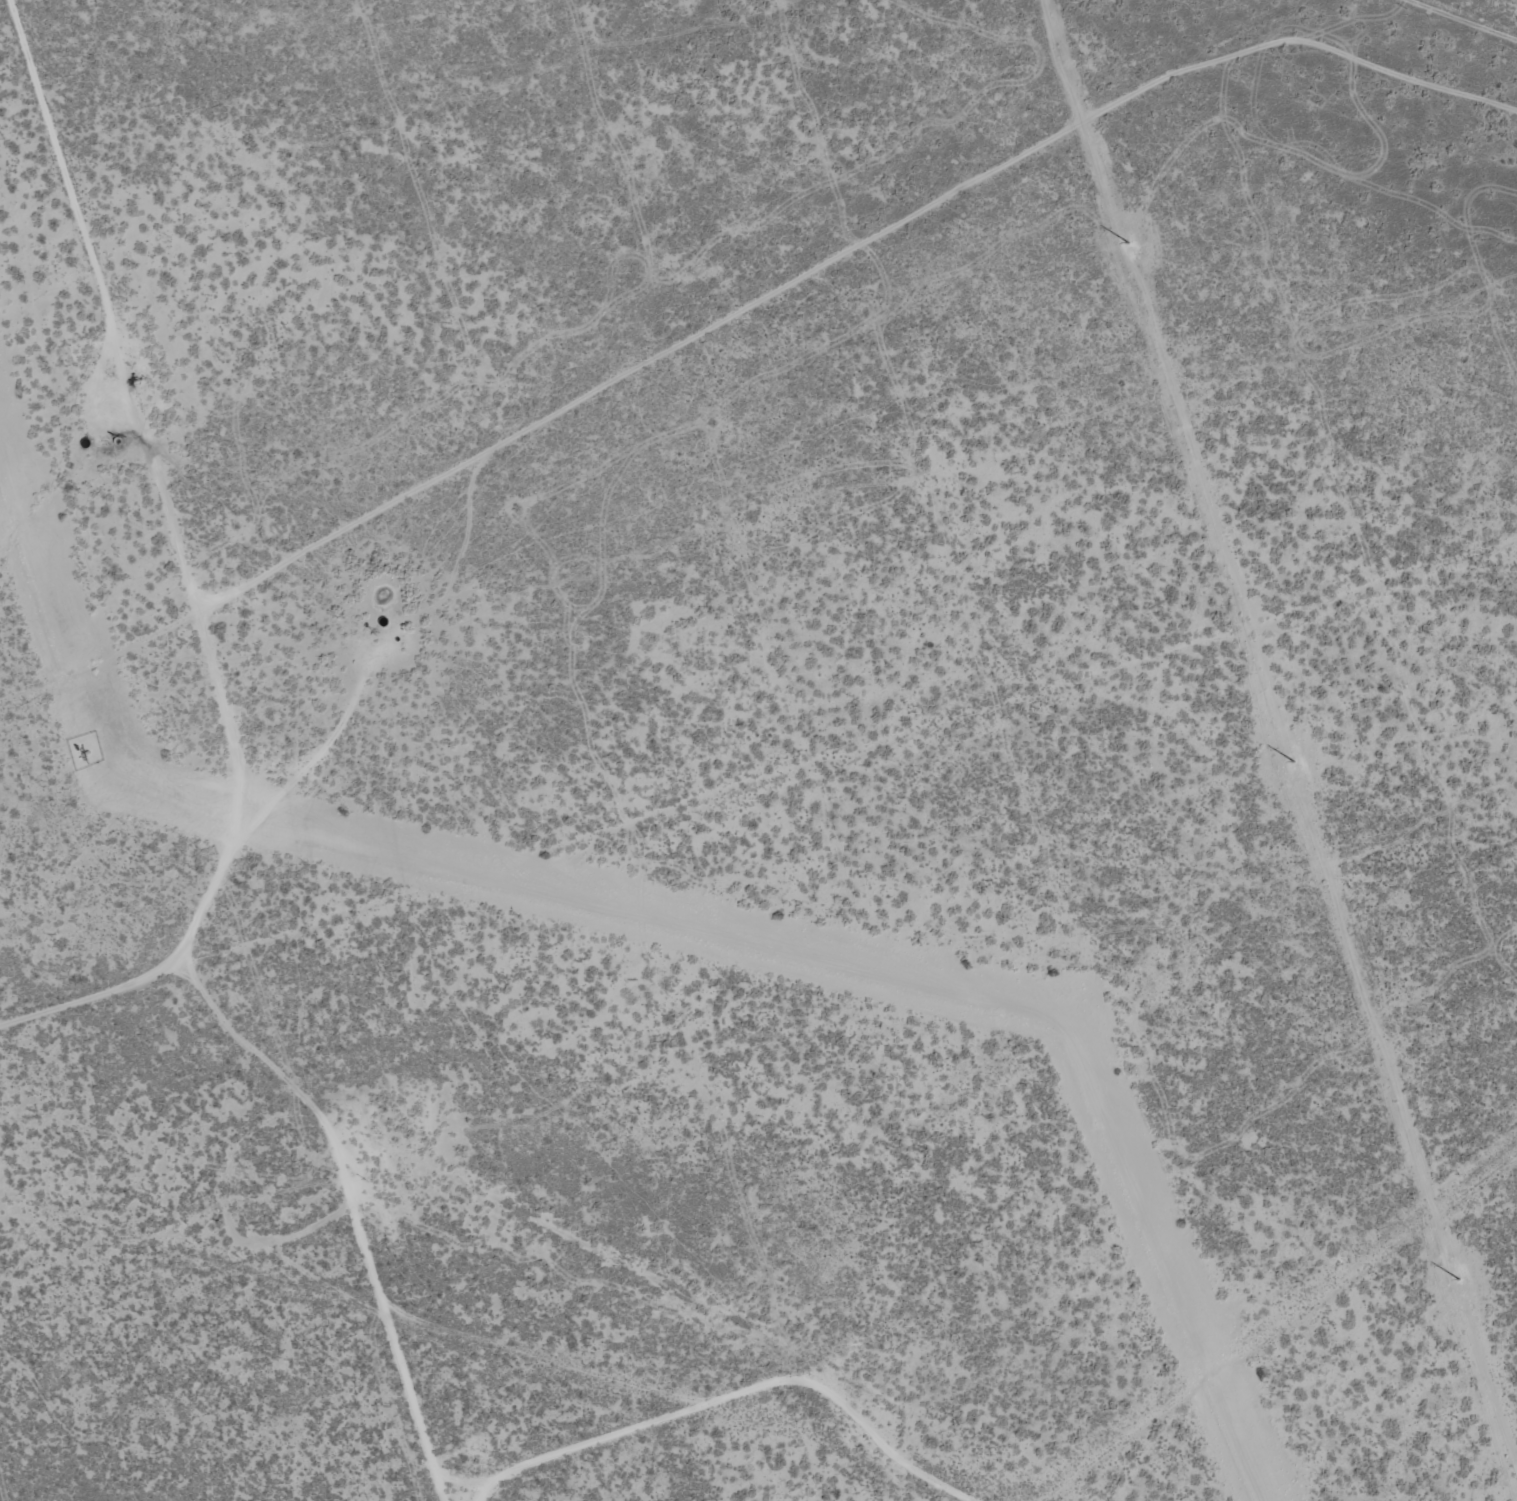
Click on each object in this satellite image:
road: (185, 571)
road: (333, 1333)
road: (695, 1405)

